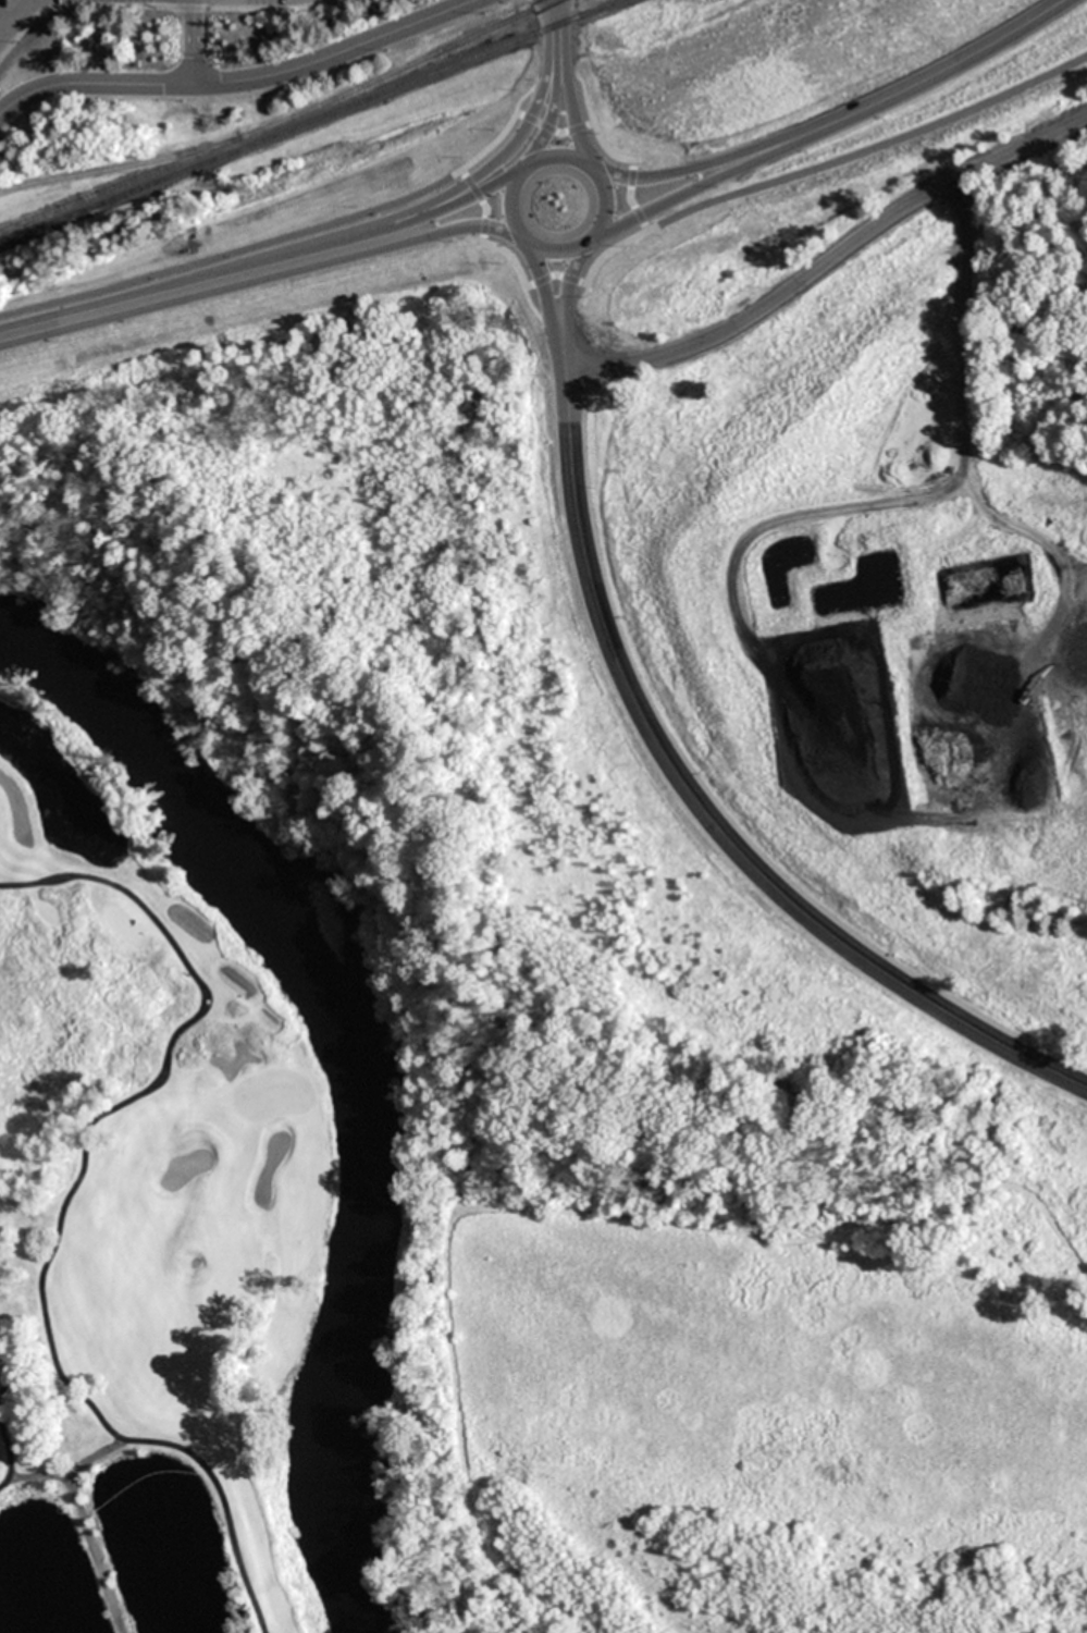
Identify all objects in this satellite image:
parking lot: (265, 1)
road: (13, 13)
road: (4, 17)
parking lot: (12, 22)
road: (1010, 30)
road: (192, 41)
road: (18, 70)
road: (236, 77)
road: (565, 79)
road: (552, 82)
road: (583, 86)
road: (527, 91)
railway: (280, 120)
railway: (307, 122)
road: (554, 130)
road: (775, 130)
road: (773, 147)
road: (545, 155)
road: (828, 158)
road: (489, 164)
road: (632, 164)
railway: (120, 167)
road: (398, 218)
road: (483, 233)
road: (272, 235)
road: (392, 241)
road: (836, 266)
road: (556, 272)
road: (568, 298)
road: (133, 299)
road: (549, 299)
road: (579, 300)
road: (540, 318)
road: (702, 806)
park: (455, 1057)
river: (349, 1065)
park: (273, 1095)
road: (57, 1205)
road: (1, 1359)
road: (3, 1450)

